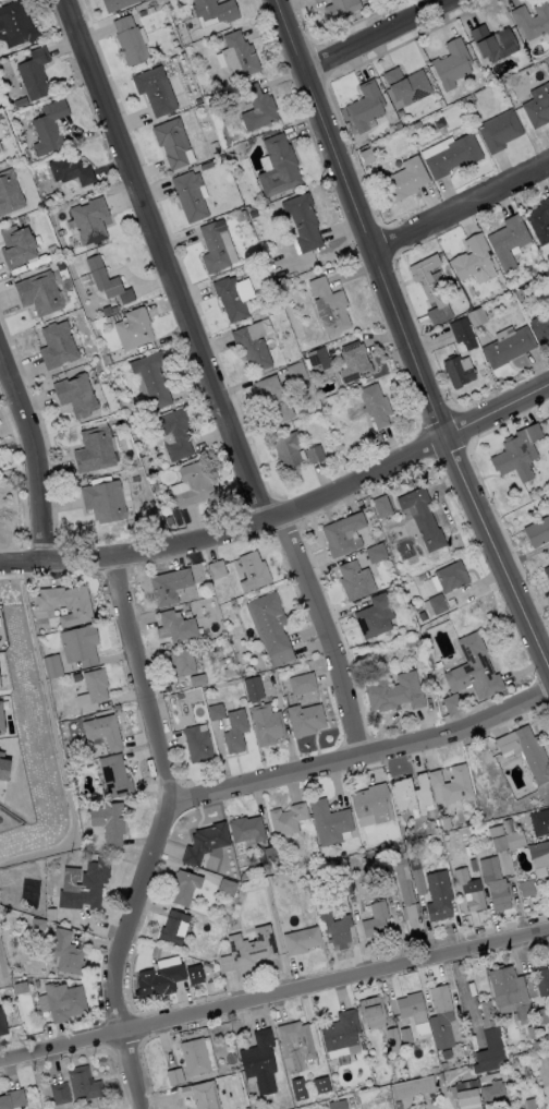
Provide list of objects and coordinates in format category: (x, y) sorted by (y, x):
building: (317, 1)
building: (117, 4)
building: (341, 8)
building: (371, 8)
building: (150, 10)
building: (216, 11)
building: (143, 13)
building: (532, 21)
building: (15, 24)
road: (375, 33)
building: (130, 40)
building: (493, 43)
building: (237, 53)
building: (452, 64)
building: (35, 74)
building: (407, 86)
building: (547, 86)
building: (156, 91)
building: (199, 101)
building: (21, 103)
building: (441, 103)
building: (366, 105)
building: (258, 108)
building: (537, 111)
building: (398, 125)
building: (49, 128)
building: (499, 130)
building: (171, 143)
building: (368, 156)
building: (453, 156)
building: (206, 166)
building: (279, 167)
building: (71, 171)
building: (403, 181)
building: (50, 189)
building: (9, 193)
building: (191, 195)
building: (51, 201)
building: (267, 201)
road: (462, 206)
building: (247, 208)
building: (241, 216)
building: (23, 220)
building: (90, 220)
building: (304, 221)
building: (540, 221)
building: (508, 242)
building: (17, 245)
building: (213, 249)
building: (472, 257)
road: (168, 260)
building: (60, 265)
building: (103, 278)
building: (428, 279)
building: (40, 293)
building: (520, 294)
building: (234, 297)
building: (461, 301)
building: (330, 306)
building: (114, 309)
building: (107, 311)
building: (476, 316)
building: (117, 317)
building: (110, 318)
building: (134, 329)
building: (542, 329)
building: (463, 333)
road: (406, 337)
building: (58, 346)
building: (509, 347)
building: (252, 349)
building: (318, 360)
building: (354, 362)
building: (296, 372)
building: (462, 372)
building: (152, 378)
building: (76, 395)
building: (273, 400)
building: (375, 405)
building: (175, 434)
building: (288, 449)
building: (95, 450)
road: (38, 451)
building: (315, 454)
building: (517, 454)
building: (134, 460)
building: (145, 460)
building: (155, 468)
building: (194, 484)
building: (105, 502)
building: (359, 504)
building: (382, 506)
road: (284, 511)
building: (423, 519)
building: (169, 520)
building: (538, 532)
building: (343, 534)
building: (376, 553)
building: (217, 569)
building: (254, 572)
building: (547, 572)
building: (425, 575)
building: (452, 577)
building: (355, 580)
building: (170, 587)
building: (68, 603)
building: (438, 604)
building: (419, 613)
building: (374, 617)
building: (422, 619)
building: (270, 624)
building: (178, 626)
road: (328, 632)
building: (410, 641)
building: (81, 644)
building: (228, 653)
building: (256, 653)
building: (228, 660)
building: (182, 661)
building: (52, 666)
building: (474, 668)
building: (230, 673)
building: (197, 680)
building: (302, 683)
building: (96, 685)
building: (254, 688)
building: (395, 692)
building: (180, 696)
building: (452, 703)
building: (217, 712)
building: (306, 720)
building: (267, 724)
building: (0, 725)
building: (235, 731)
building: (103, 732)
building: (65, 740)
building: (197, 744)
building: (527, 751)
road: (364, 755)
building: (2, 770)
building: (115, 776)
building: (451, 784)
building: (412, 794)
building: (371, 803)
building: (288, 819)
building: (329, 822)
building: (438, 822)
building: (540, 822)
building: (110, 823)
building: (444, 828)
building: (247, 829)
building: (496, 831)
road: (162, 834)
building: (509, 837)
building: (205, 842)
building: (401, 846)
building: (469, 851)
building: (270, 854)
building: (539, 855)
building: (243, 856)
building: (313, 861)
building: (51, 864)
building: (473, 865)
building: (325, 869)
building: (293, 873)
building: (462, 875)
building: (244, 876)
building: (418, 881)
building: (495, 881)
building: (546, 881)
building: (85, 885)
building: (185, 887)
building: (228, 887)
building: (526, 888)
building: (405, 889)
building: (438, 896)
building: (395, 899)
building: (476, 901)
building: (325, 905)
building: (51, 914)
building: (376, 921)
building: (173, 929)
building: (339, 930)
building: (302, 940)
building: (248, 948)
building: (66, 952)
building: (193, 973)
building: (208, 974)
building: (166, 979)
building: (542, 979)
building: (21, 987)
building: (509, 990)
road: (273, 993)
building: (64, 1001)
building: (412, 1008)
building: (373, 1012)
building: (486, 1014)
building: (441, 1016)
building: (541, 1016)
building: (2, 1024)
building: (341, 1032)
building: (530, 1032)
building: (406, 1036)
building: (544, 1039)
building: (393, 1040)
building: (535, 1045)
building: (295, 1046)
building: (363, 1046)
building: (491, 1052)
building: (195, 1057)
building: (260, 1061)
building: (515, 1064)
building: (444, 1065)
building: (174, 1076)
building: (83, 1084)
building: (320, 1084)
building: (417, 1086)
building: (495, 1089)
building: (466, 1093)
building: (60, 1094)
building: (205, 1096)
building: (300, 1096)
building: (12, 1099)
building: (312, 1101)
building: (529, 1102)
building: (335, 1105)
building: (399, 1105)
road: (427, 1106)

